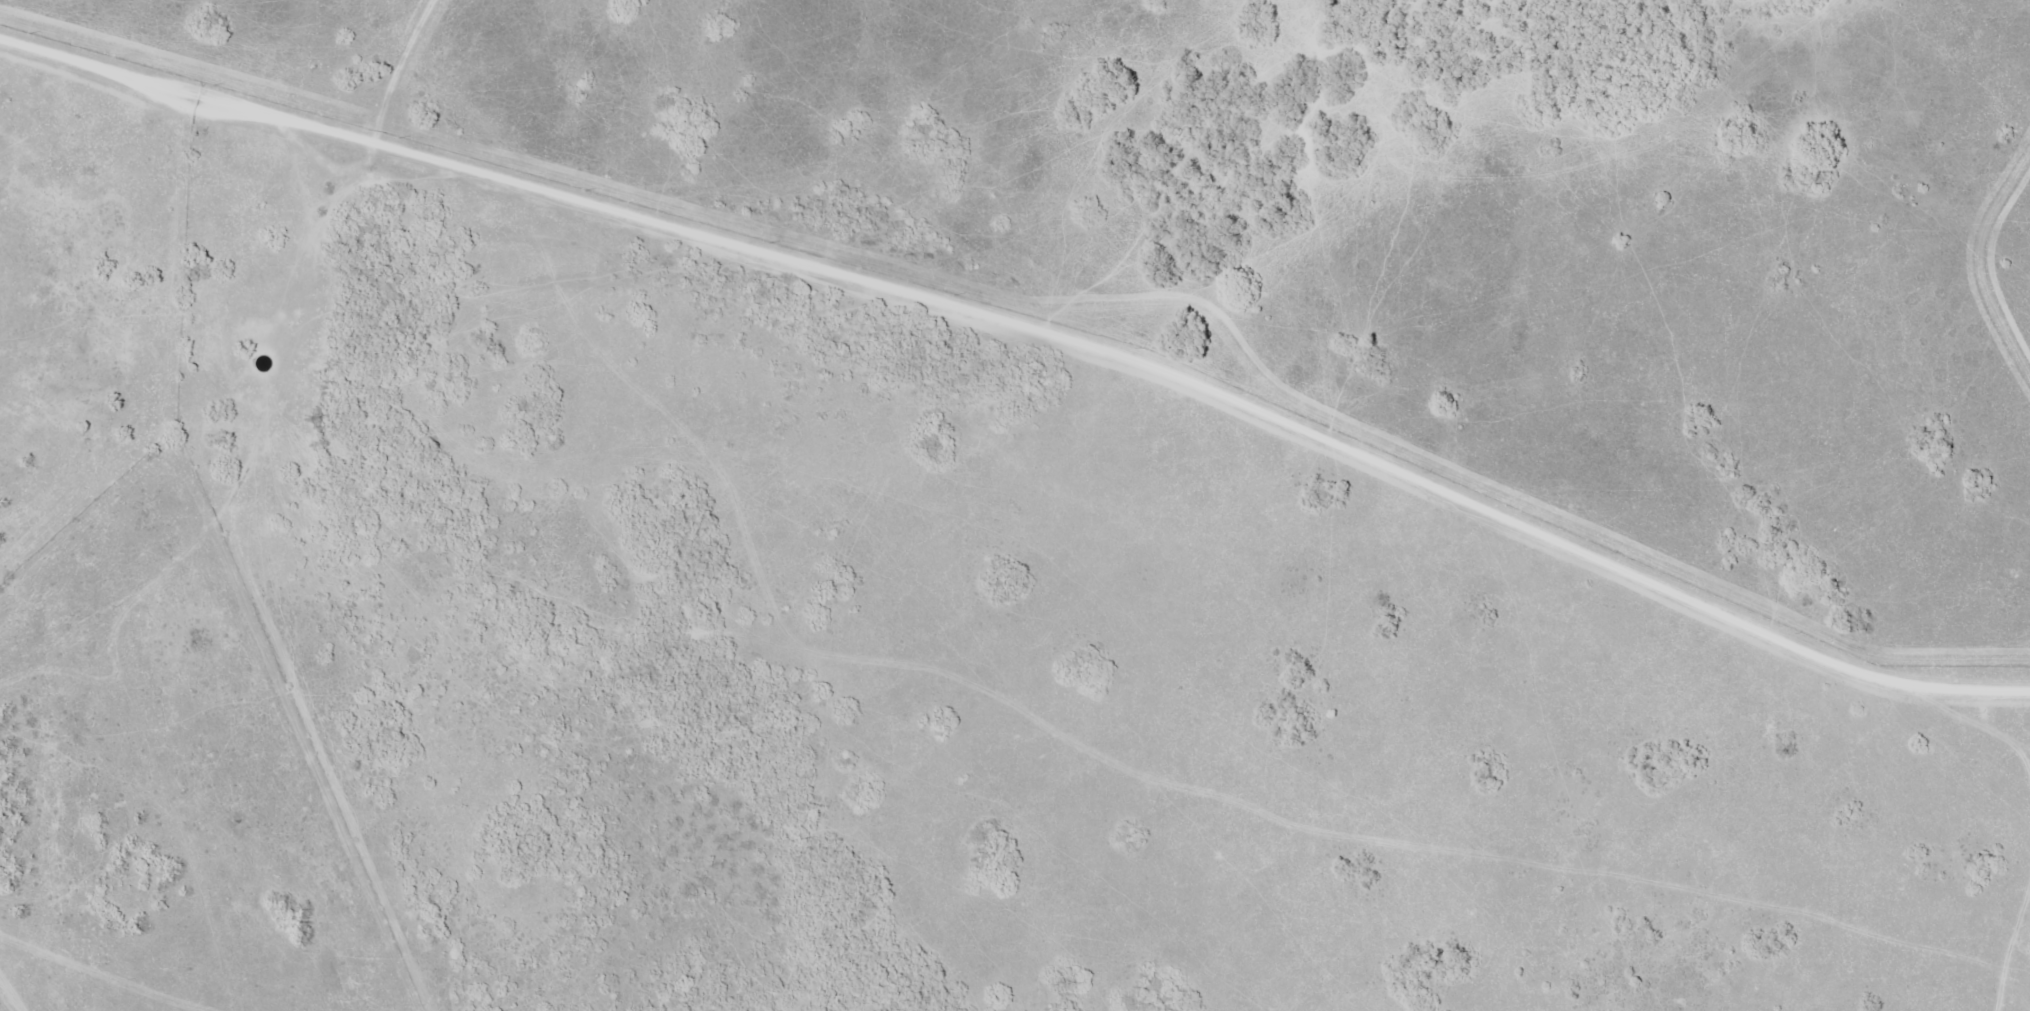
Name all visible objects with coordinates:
road: (984, 345)
road: (1984, 708)

